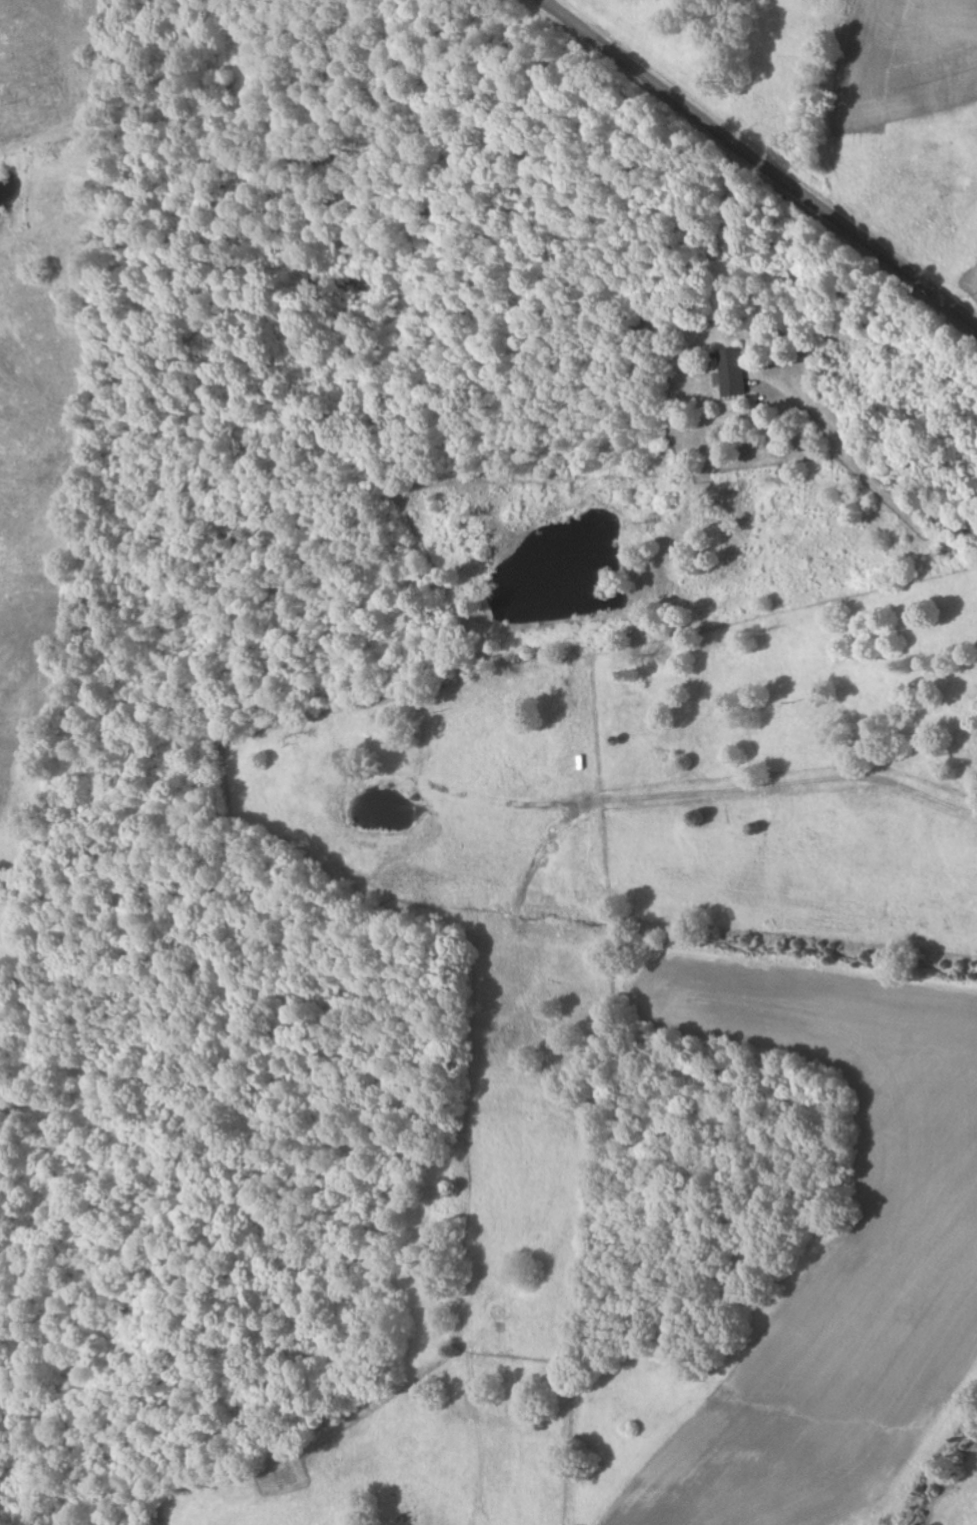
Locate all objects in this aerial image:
road: (760, 163)
building: (735, 371)
road: (864, 465)

